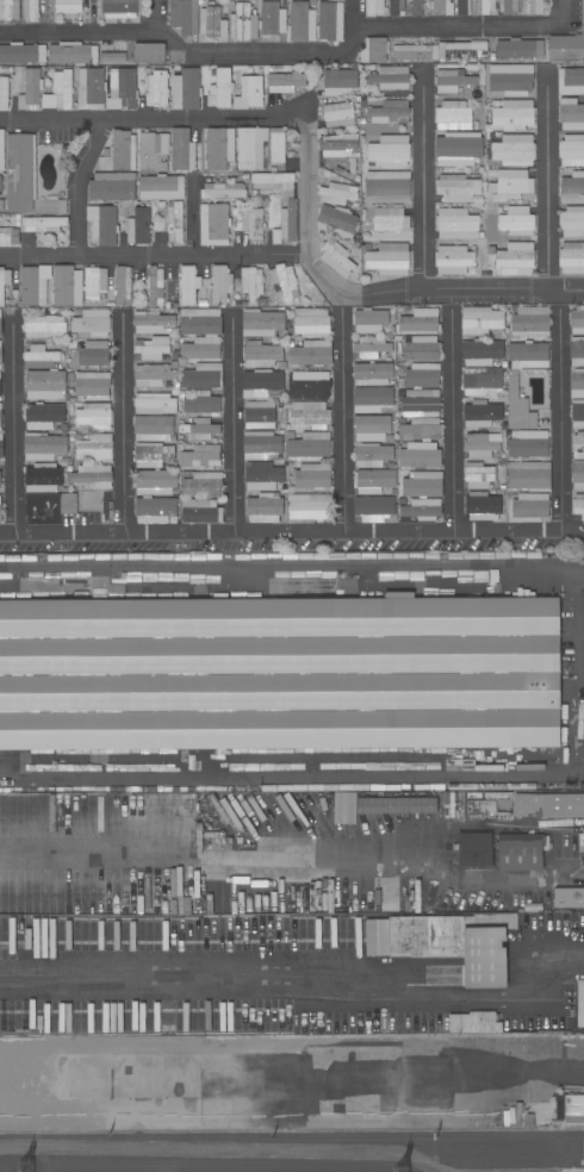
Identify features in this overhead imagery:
building: (68, 7)
building: (374, 7)
building: (394, 7)
building: (417, 7)
building: (441, 7)
building: (459, 7)
building: (487, 7)
building: (510, 7)
building: (534, 7)
building: (123, 8)
building: (8, 10)
building: (30, 11)
road: (560, 12)
road: (157, 15)
building: (184, 15)
building: (272, 19)
building: (329, 21)
building: (243, 23)
building: (302, 23)
building: (213, 24)
road: (350, 26)
road: (455, 27)
road: (98, 32)
building: (566, 48)
building: (520, 49)
building: (374, 50)
building: (441, 51)
building: (21, 52)
building: (73, 54)
building: (144, 54)
road: (271, 54)
building: (111, 57)
building: (390, 77)
building: (511, 80)
building: (338, 81)
building: (452, 81)
building: (571, 81)
building: (285, 82)
building: (62, 89)
building: (91, 89)
building: (122, 89)
building: (156, 89)
building: (186, 89)
building: (220, 89)
building: (30, 91)
building: (4, 93)
building: (249, 93)
building: (389, 112)
building: (338, 114)
building: (511, 114)
building: (571, 114)
building: (453, 117)
road: (153, 118)
building: (337, 144)
building: (277, 145)
building: (250, 148)
building: (219, 149)
building: (458, 149)
building: (1, 150)
building: (182, 150)
building: (514, 150)
building: (153, 151)
building: (390, 151)
building: (571, 151)
building: (119, 152)
building: (291, 154)
building: (352, 164)
building: (480, 170)
building: (341, 172)
building: (20, 173)
building: (246, 176)
road: (423, 179)
road: (547, 181)
building: (274, 182)
building: (0, 183)
road: (79, 183)
building: (510, 183)
building: (112, 187)
building: (161, 187)
building: (387, 187)
building: (458, 188)
building: (572, 188)
building: (223, 191)
building: (337, 193)
building: (1, 205)
building: (62, 207)
building: (499, 210)
road: (192, 216)
road: (306, 218)
building: (390, 220)
building: (173, 222)
building: (336, 222)
building: (517, 222)
building: (286, 223)
building: (572, 223)
building: (43, 224)
building: (102, 224)
building: (213, 224)
building: (253, 224)
building: (456, 224)
building: (138, 226)
building: (8, 236)
building: (358, 237)
building: (365, 245)
road: (153, 255)
building: (337, 258)
building: (571, 258)
building: (389, 260)
building: (454, 260)
building: (514, 260)
building: (472, 272)
building: (4, 282)
building: (251, 282)
building: (285, 282)
building: (94, 283)
building: (155, 285)
building: (220, 285)
building: (67, 286)
building: (123, 286)
building: (187, 286)
building: (32, 288)
road: (467, 293)
building: (406, 307)
building: (369, 320)
building: (420, 320)
building: (480, 320)
building: (529, 320)
building: (92, 322)
building: (151, 322)
building: (200, 322)
building: (577, 322)
building: (310, 323)
building: (262, 324)
building: (0, 326)
building: (44, 326)
building: (392, 329)
building: (398, 338)
building: (0, 344)
building: (72, 344)
building: (371, 347)
building: (153, 348)
building: (201, 349)
building: (417, 349)
building: (577, 351)
building: (310, 353)
building: (482, 353)
building: (73, 355)
building: (93, 355)
building: (174, 355)
building: (262, 355)
building: (528, 355)
building: (0, 356)
building: (41, 357)
building: (173, 364)
building: (373, 374)
building: (153, 375)
building: (422, 375)
building: (203, 376)
building: (483, 381)
building: (577, 382)
building: (167, 384)
building: (261, 384)
building: (309, 384)
building: (45, 385)
building: (93, 386)
building: (175, 388)
building: (0, 391)
building: (181, 393)
building: (372, 399)
building: (421, 401)
building: (154, 404)
building: (201, 404)
building: (518, 405)
building: (480, 413)
building: (577, 413)
building: (259, 414)
building: (309, 414)
building: (43, 416)
building: (94, 416)
road: (451, 418)
road: (231, 419)
road: (342, 419)
road: (559, 419)
road: (13, 420)
building: (0, 422)
road: (120, 422)
building: (504, 425)
building: (153, 429)
building: (372, 429)
building: (418, 429)
building: (199, 430)
building: (502, 431)
building: (179, 438)
building: (529, 444)
building: (1, 445)
building: (261, 445)
building: (480, 445)
building: (578, 445)
building: (44, 447)
building: (307, 447)
building: (95, 449)
building: (151, 455)
building: (372, 455)
building: (201, 456)
building: (420, 456)
building: (501, 461)
building: (577, 474)
building: (93, 475)
building: (478, 475)
building: (529, 475)
building: (262, 476)
building: (312, 476)
building: (44, 478)
building: (0, 480)
building: (374, 480)
building: (155, 482)
building: (201, 484)
building: (422, 485)
building: (502, 487)
building: (89, 500)
building: (68, 503)
building: (578, 505)
building: (309, 506)
building: (482, 506)
building: (265, 507)
building: (529, 507)
building: (373, 509)
building: (154, 510)
building: (422, 510)
building: (200, 511)
building: (0, 513)
building: (173, 520)
road: (292, 532)
building: (279, 673)
building: (396, 805)
building: (548, 805)
building: (343, 808)
building: (487, 810)
building: (580, 841)
building: (473, 850)
road: (310, 852)
building: (522, 852)
building: (217, 893)
building: (8, 897)
building: (569, 898)
building: (456, 943)
road: (306, 980)
building: (580, 1003)
building: (473, 1022)
building: (11, 1066)
road: (325, 1072)
building: (574, 1109)
building: (538, 1115)
building: (499, 1118)
building: (111, 1159)
power tower: (30, 1170)
building: (99, 1170)
building: (192, 1170)

